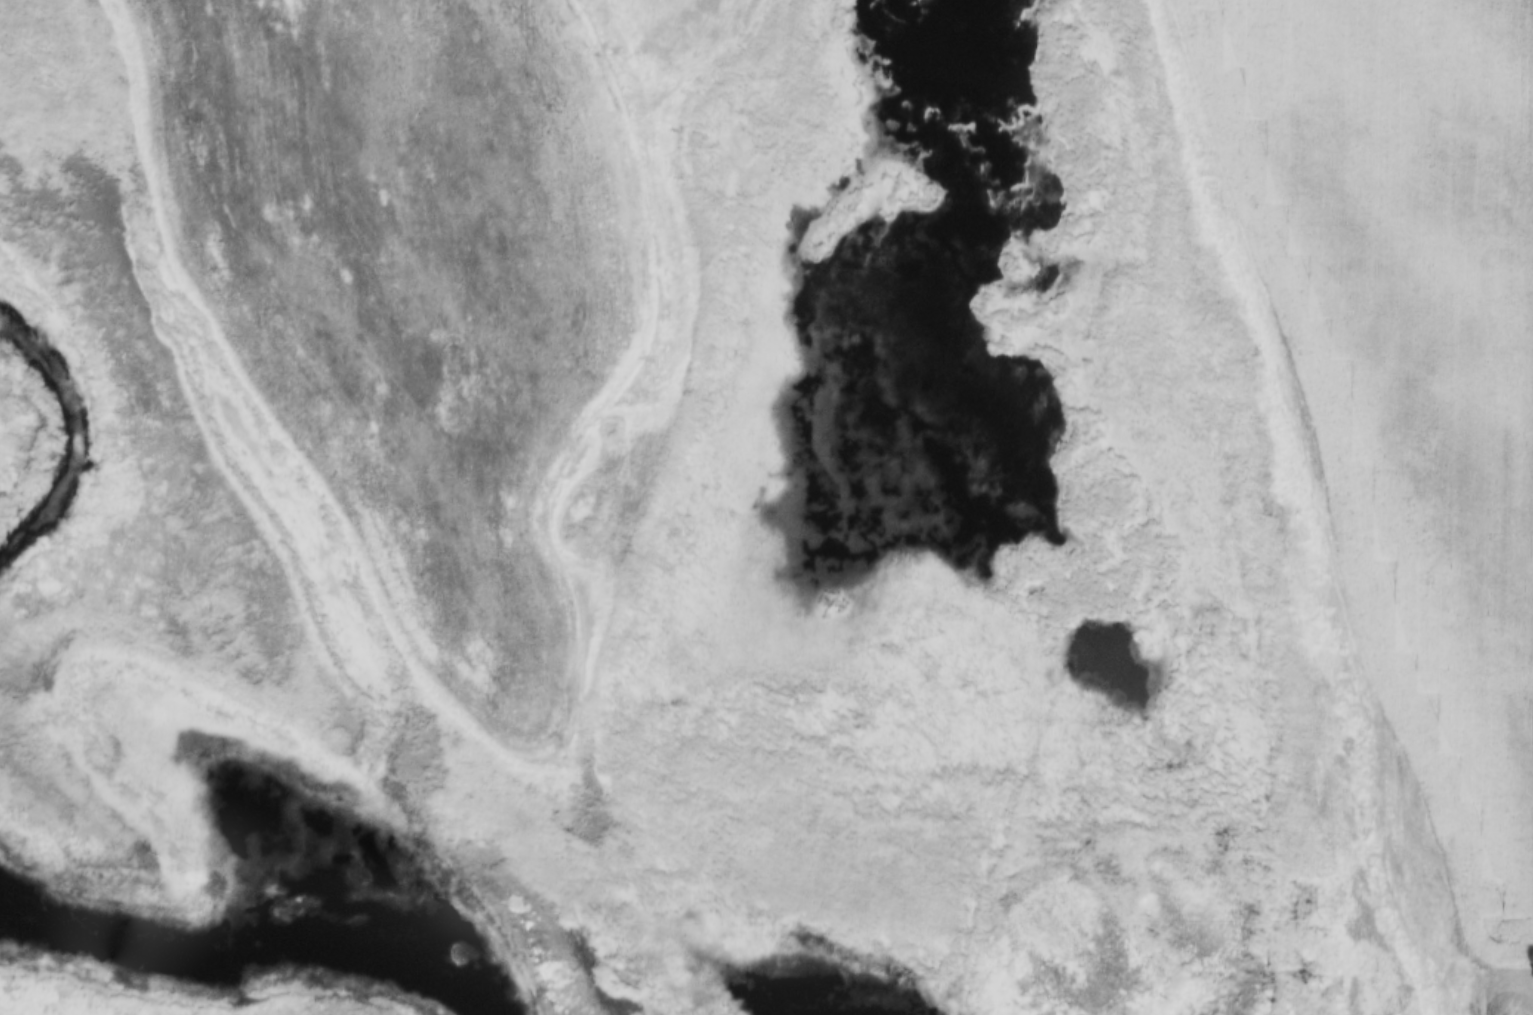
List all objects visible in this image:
river: (68, 422)
river: (254, 923)
river: (849, 1012)

